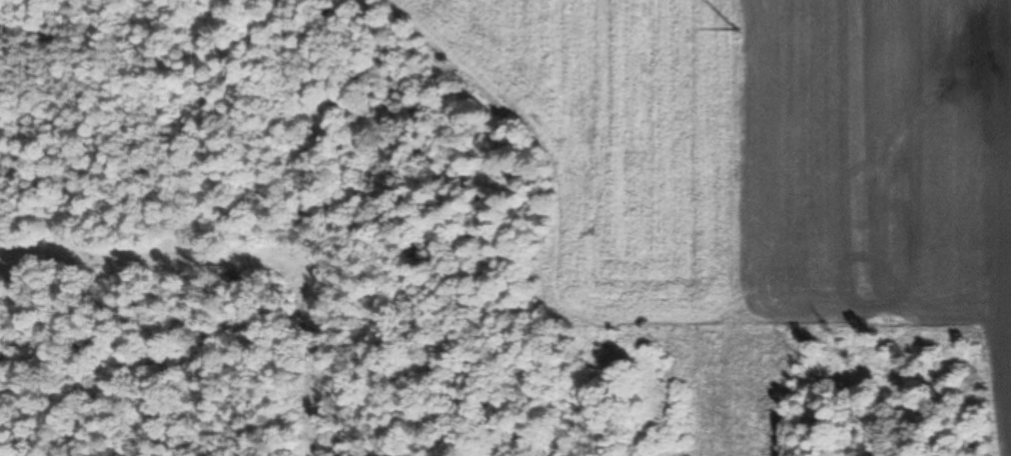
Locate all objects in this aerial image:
power tower: (735, 32)

